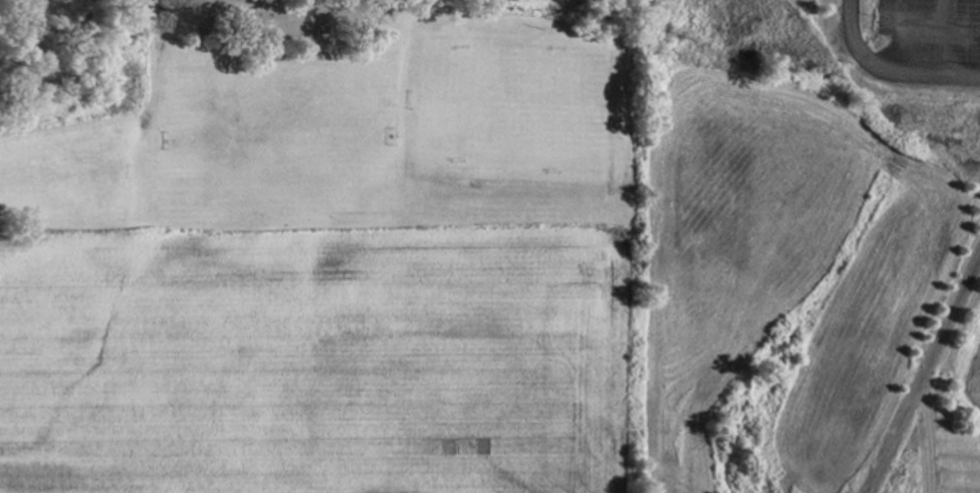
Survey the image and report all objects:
road: (899, 38)
road: (941, 38)
road: (887, 72)
park: (319, 114)
crop: (320, 360)

